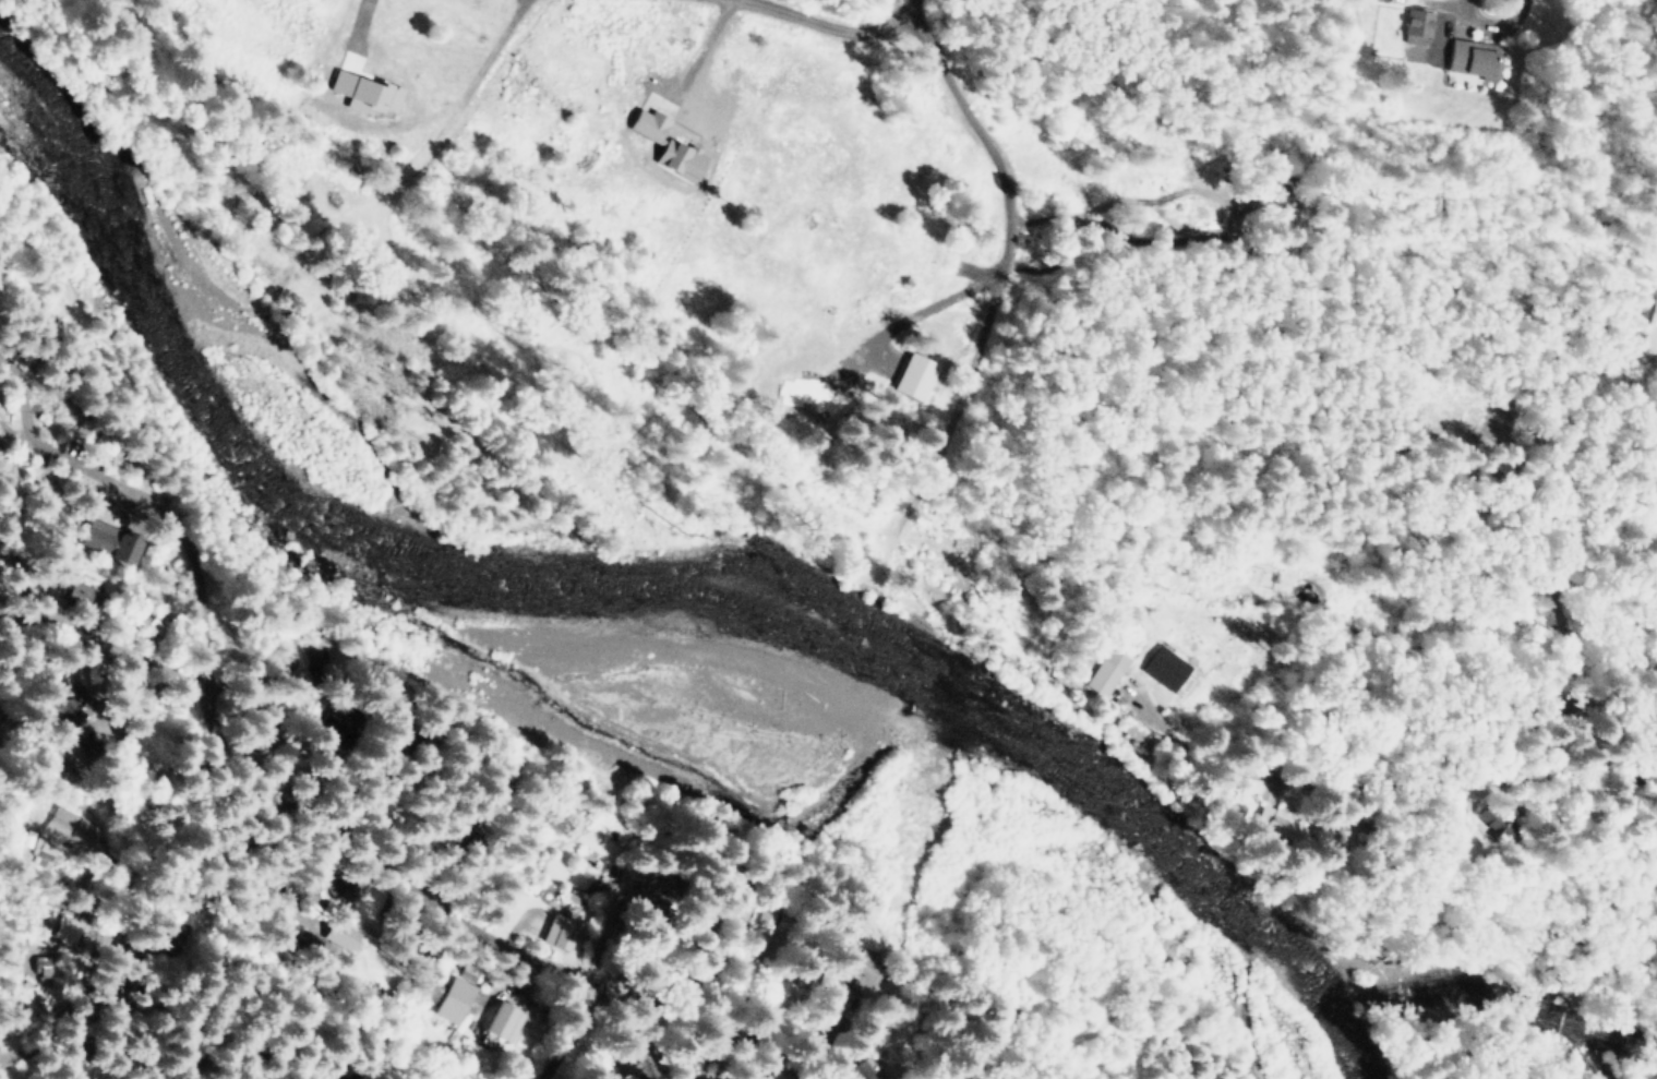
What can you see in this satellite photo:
road: (816, 20)
building: (1419, 26)
road: (1493, 31)
building: (1476, 58)
building: (368, 93)
building: (651, 124)
building: (683, 158)
road: (1007, 265)
building: (917, 375)
building: (95, 436)
building: (112, 541)
building: (86, 600)
road: (101, 644)
building: (313, 656)
river: (608, 666)
building: (1167, 668)
building: (1106, 671)
road: (1489, 697)
building: (68, 714)
building: (0, 715)
building: (346, 726)
building: (83, 757)
road: (296, 806)
building: (1490, 823)
road: (75, 863)
road: (303, 870)
road: (110, 912)
building: (765, 922)
building: (68, 928)
building: (561, 932)
building: (43, 966)
building: (863, 970)
road: (385, 994)
building: (455, 1000)
building: (505, 1021)
road: (565, 1033)
building: (862, 1070)

